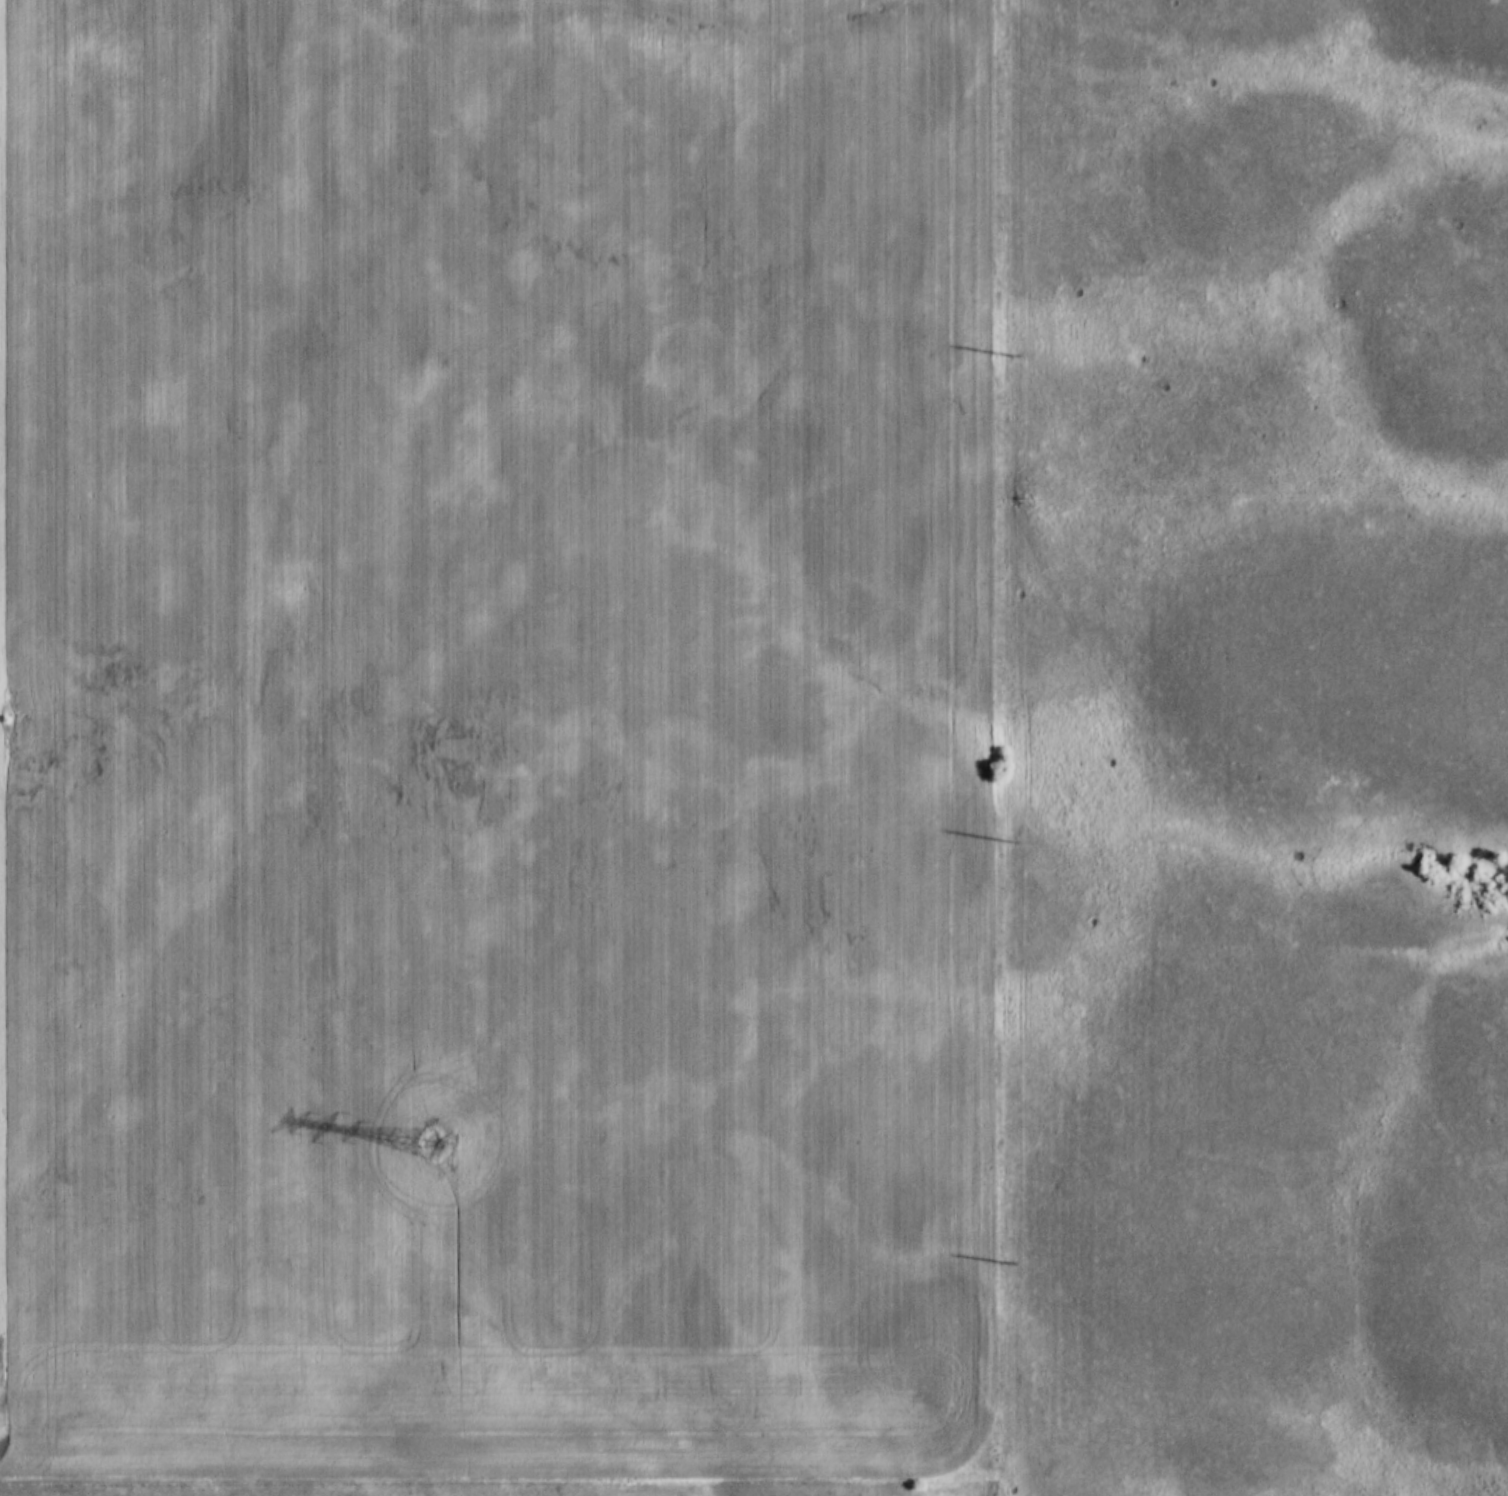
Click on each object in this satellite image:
power tower: (448, 1146)

